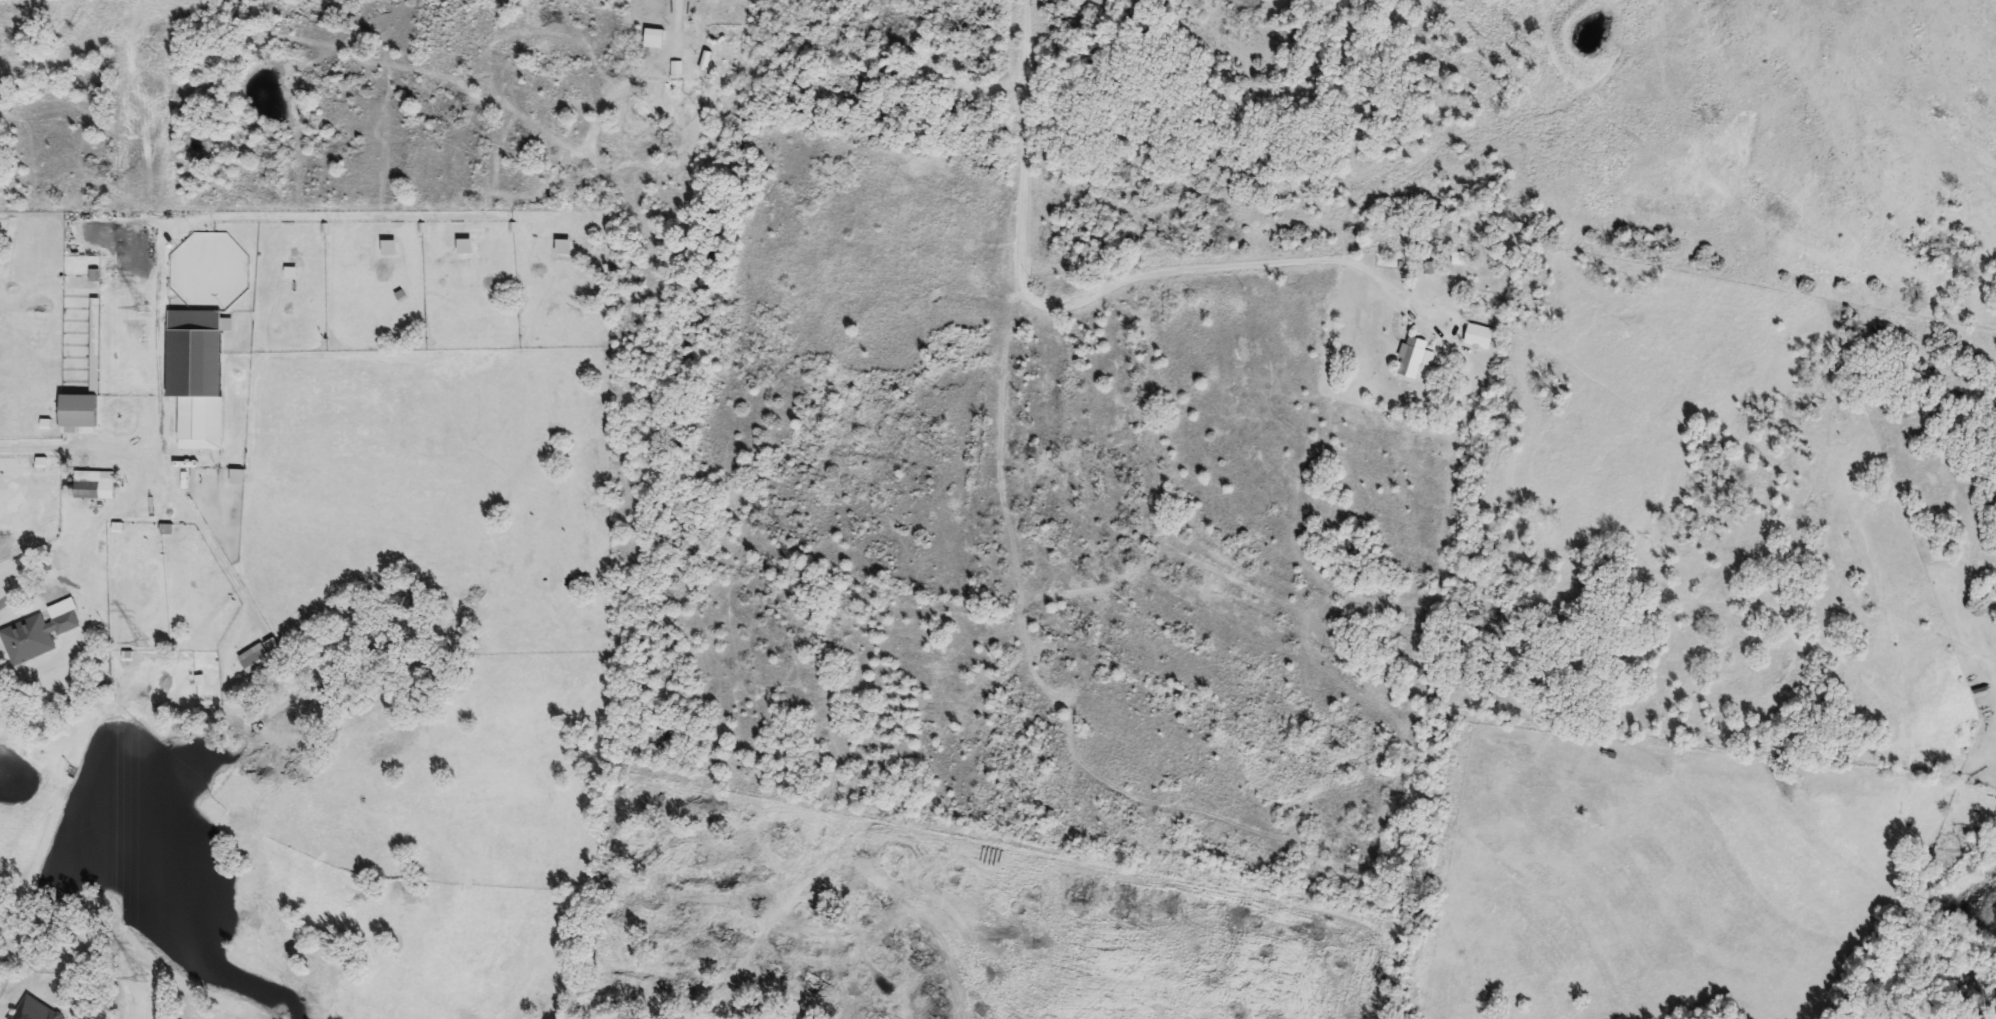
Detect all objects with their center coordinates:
building: (657, 40)
road: (1085, 302)
power tower: (143, 314)
building: (1481, 337)
building: (1417, 358)
building: (199, 376)
building: (83, 415)
road: (54, 451)
building: (96, 486)
road: (192, 522)
road: (8, 605)
building: (41, 633)
power tower: (143, 658)
building: (258, 660)
power tower: (143, 987)
building: (42, 1012)
building: (16, 1018)

